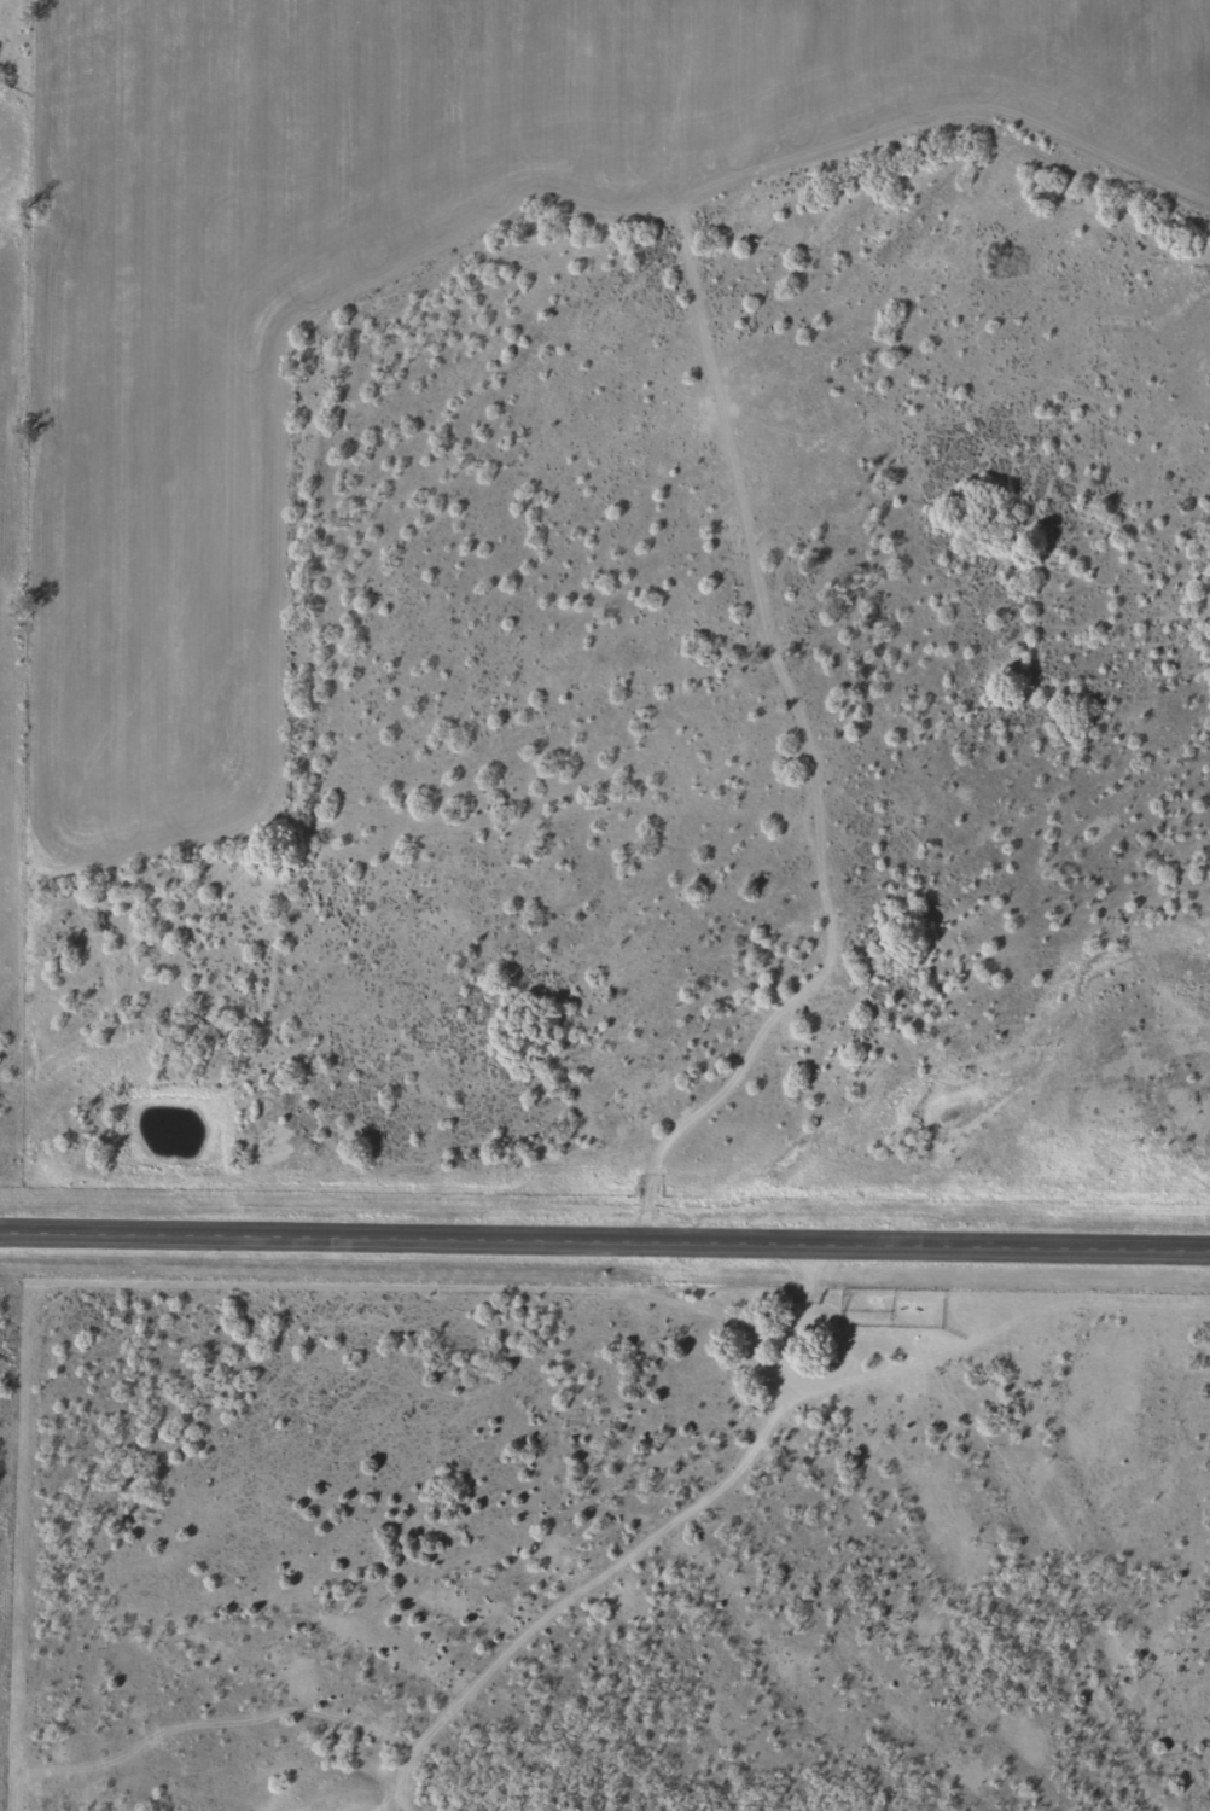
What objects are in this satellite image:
road: (605, 1244)

